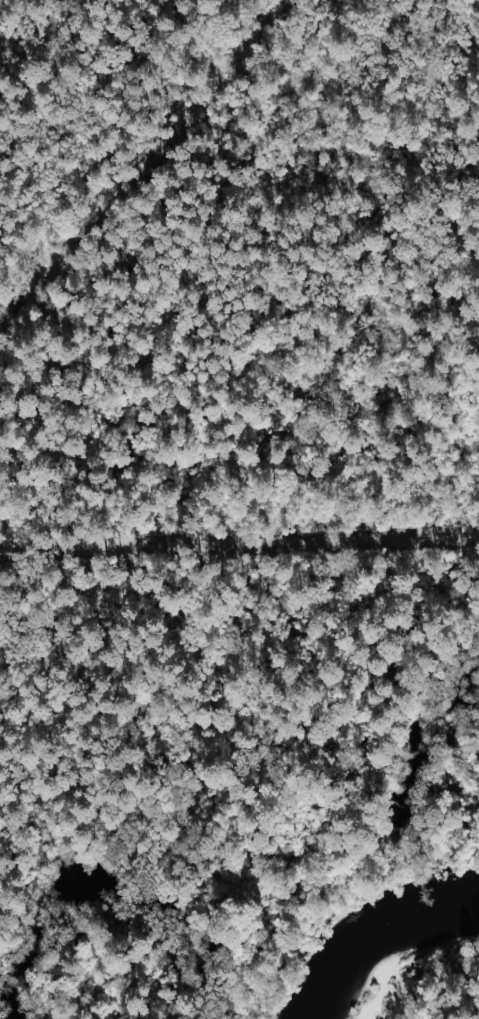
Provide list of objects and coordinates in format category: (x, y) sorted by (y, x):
river: (399, 947)

